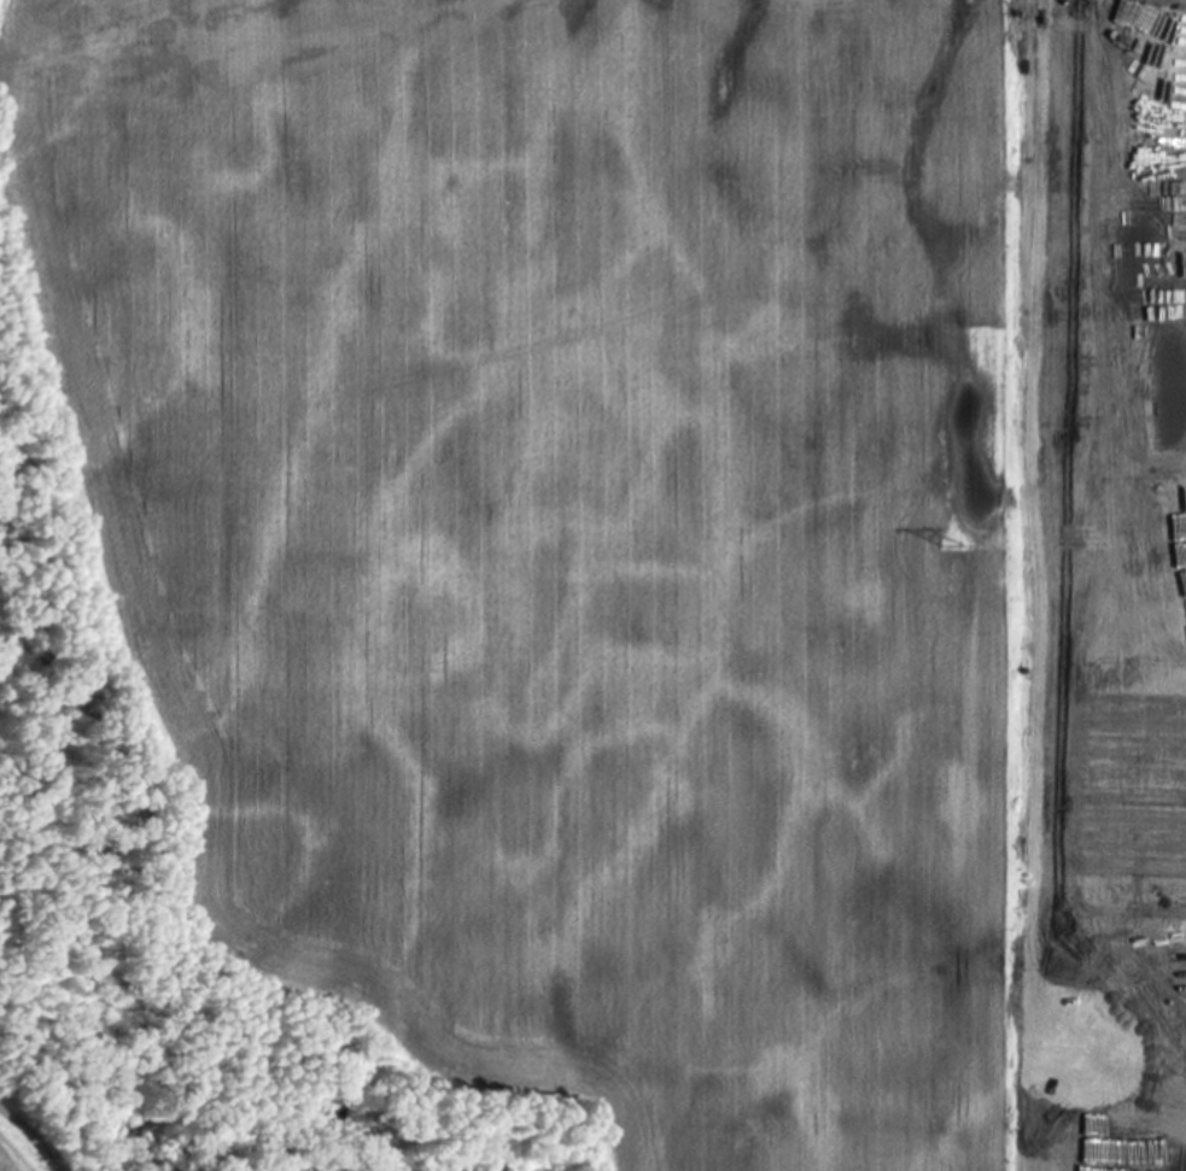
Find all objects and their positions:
power tower: (958, 549)

